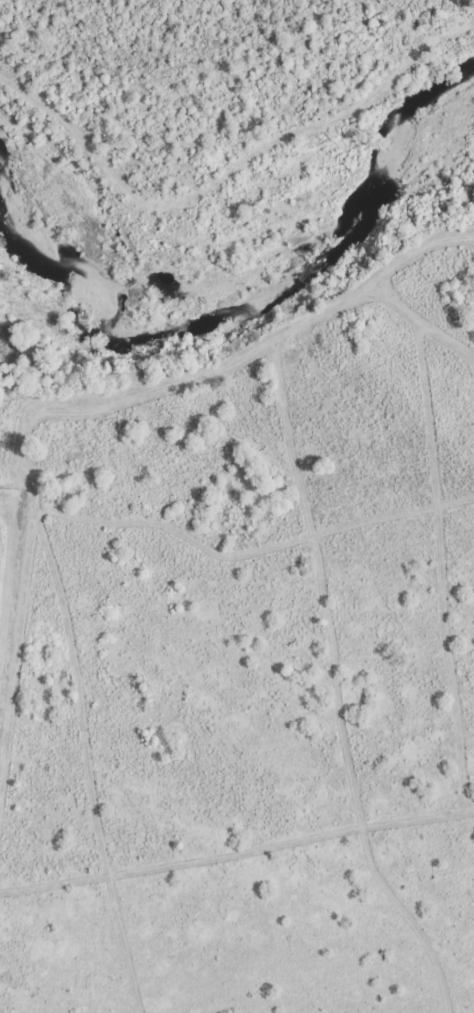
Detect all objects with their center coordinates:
river: (248, 282)
road: (236, 846)
road: (95, 890)

